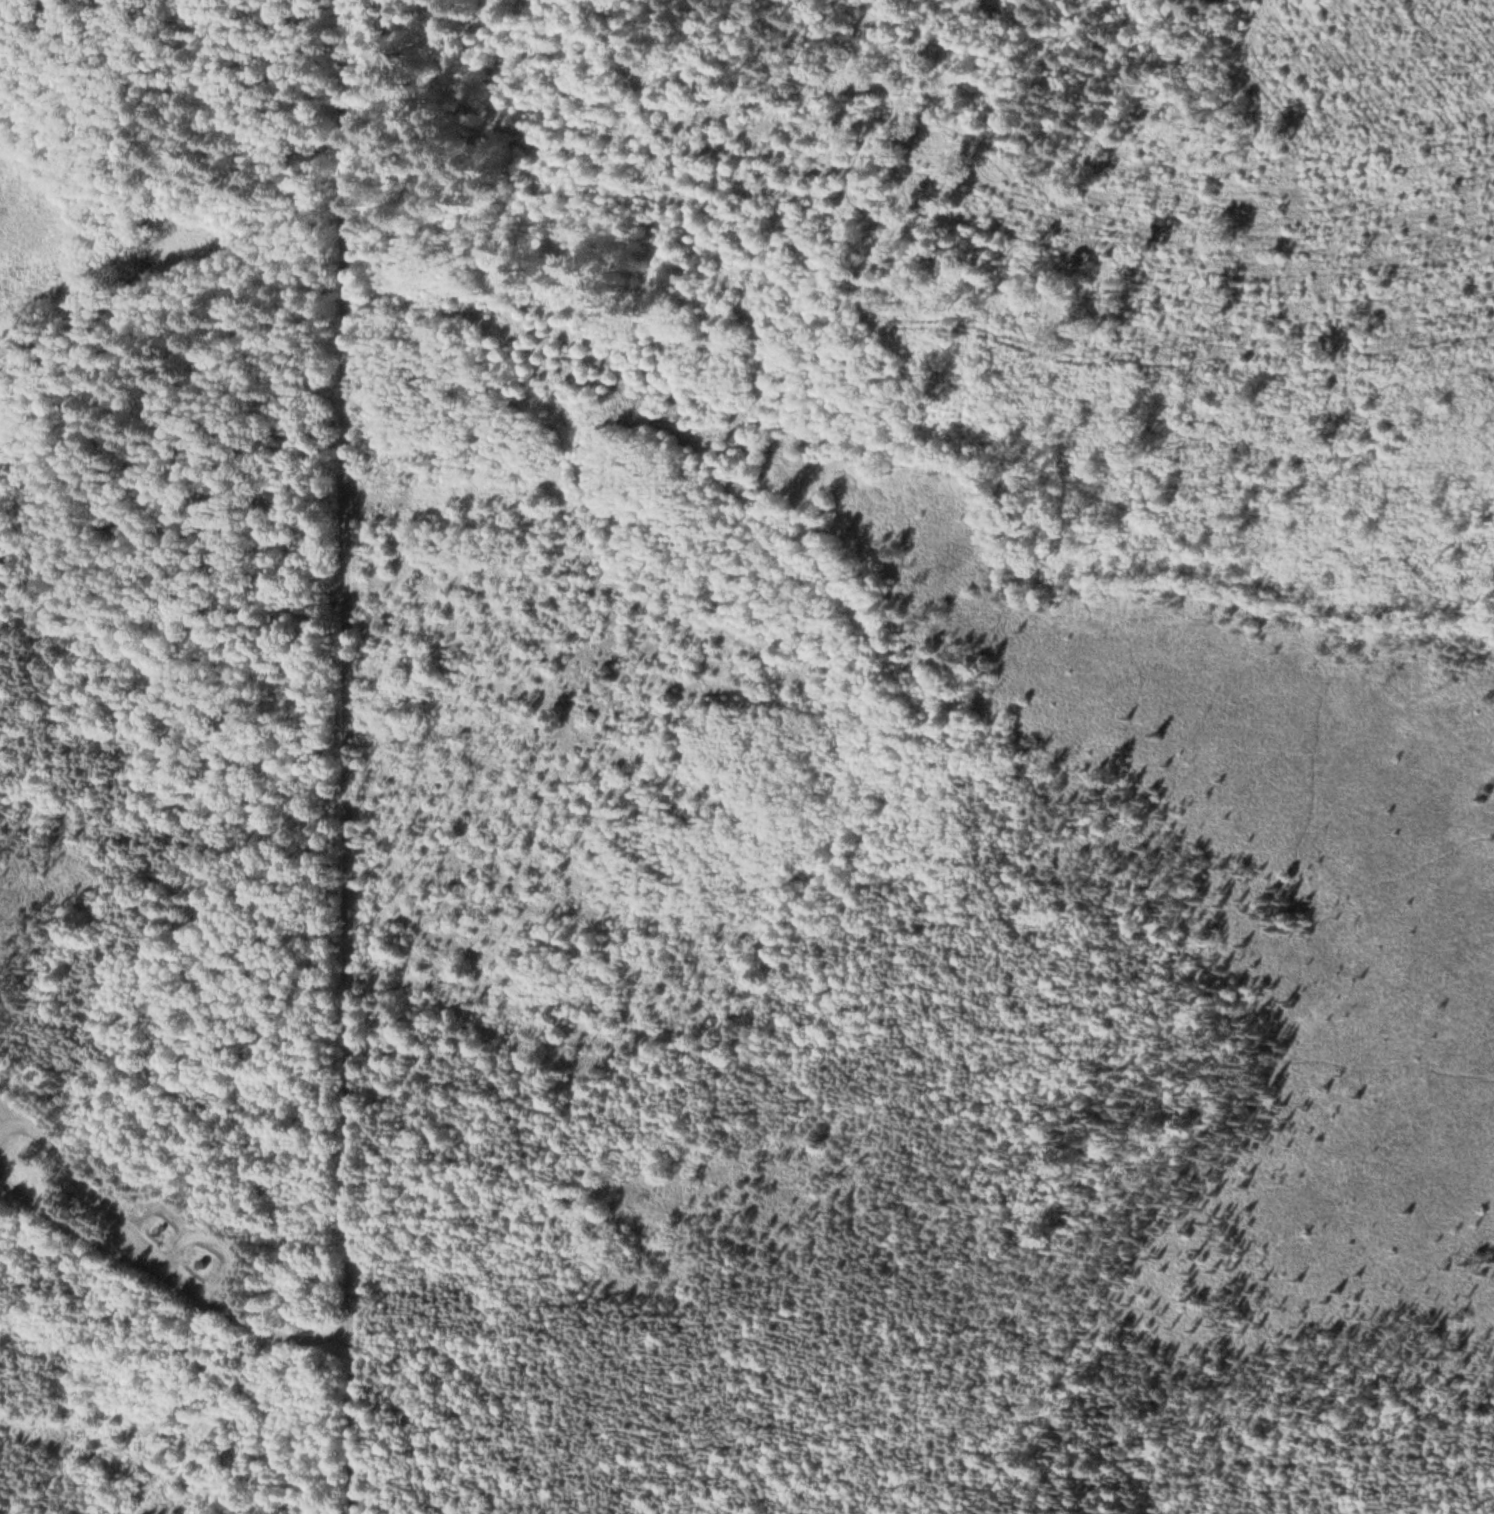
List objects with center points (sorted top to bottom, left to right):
road: (358, 757)
road: (172, 1282)

